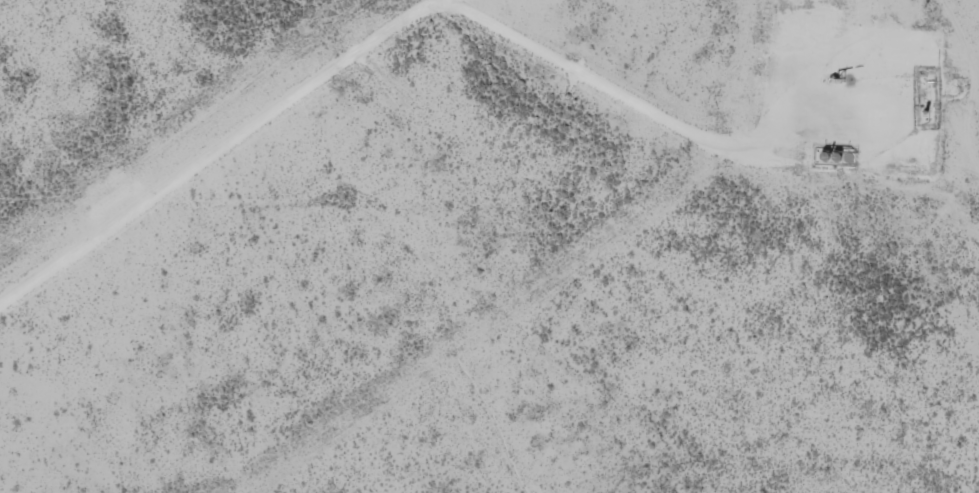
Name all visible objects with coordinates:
road: (218, 145)

